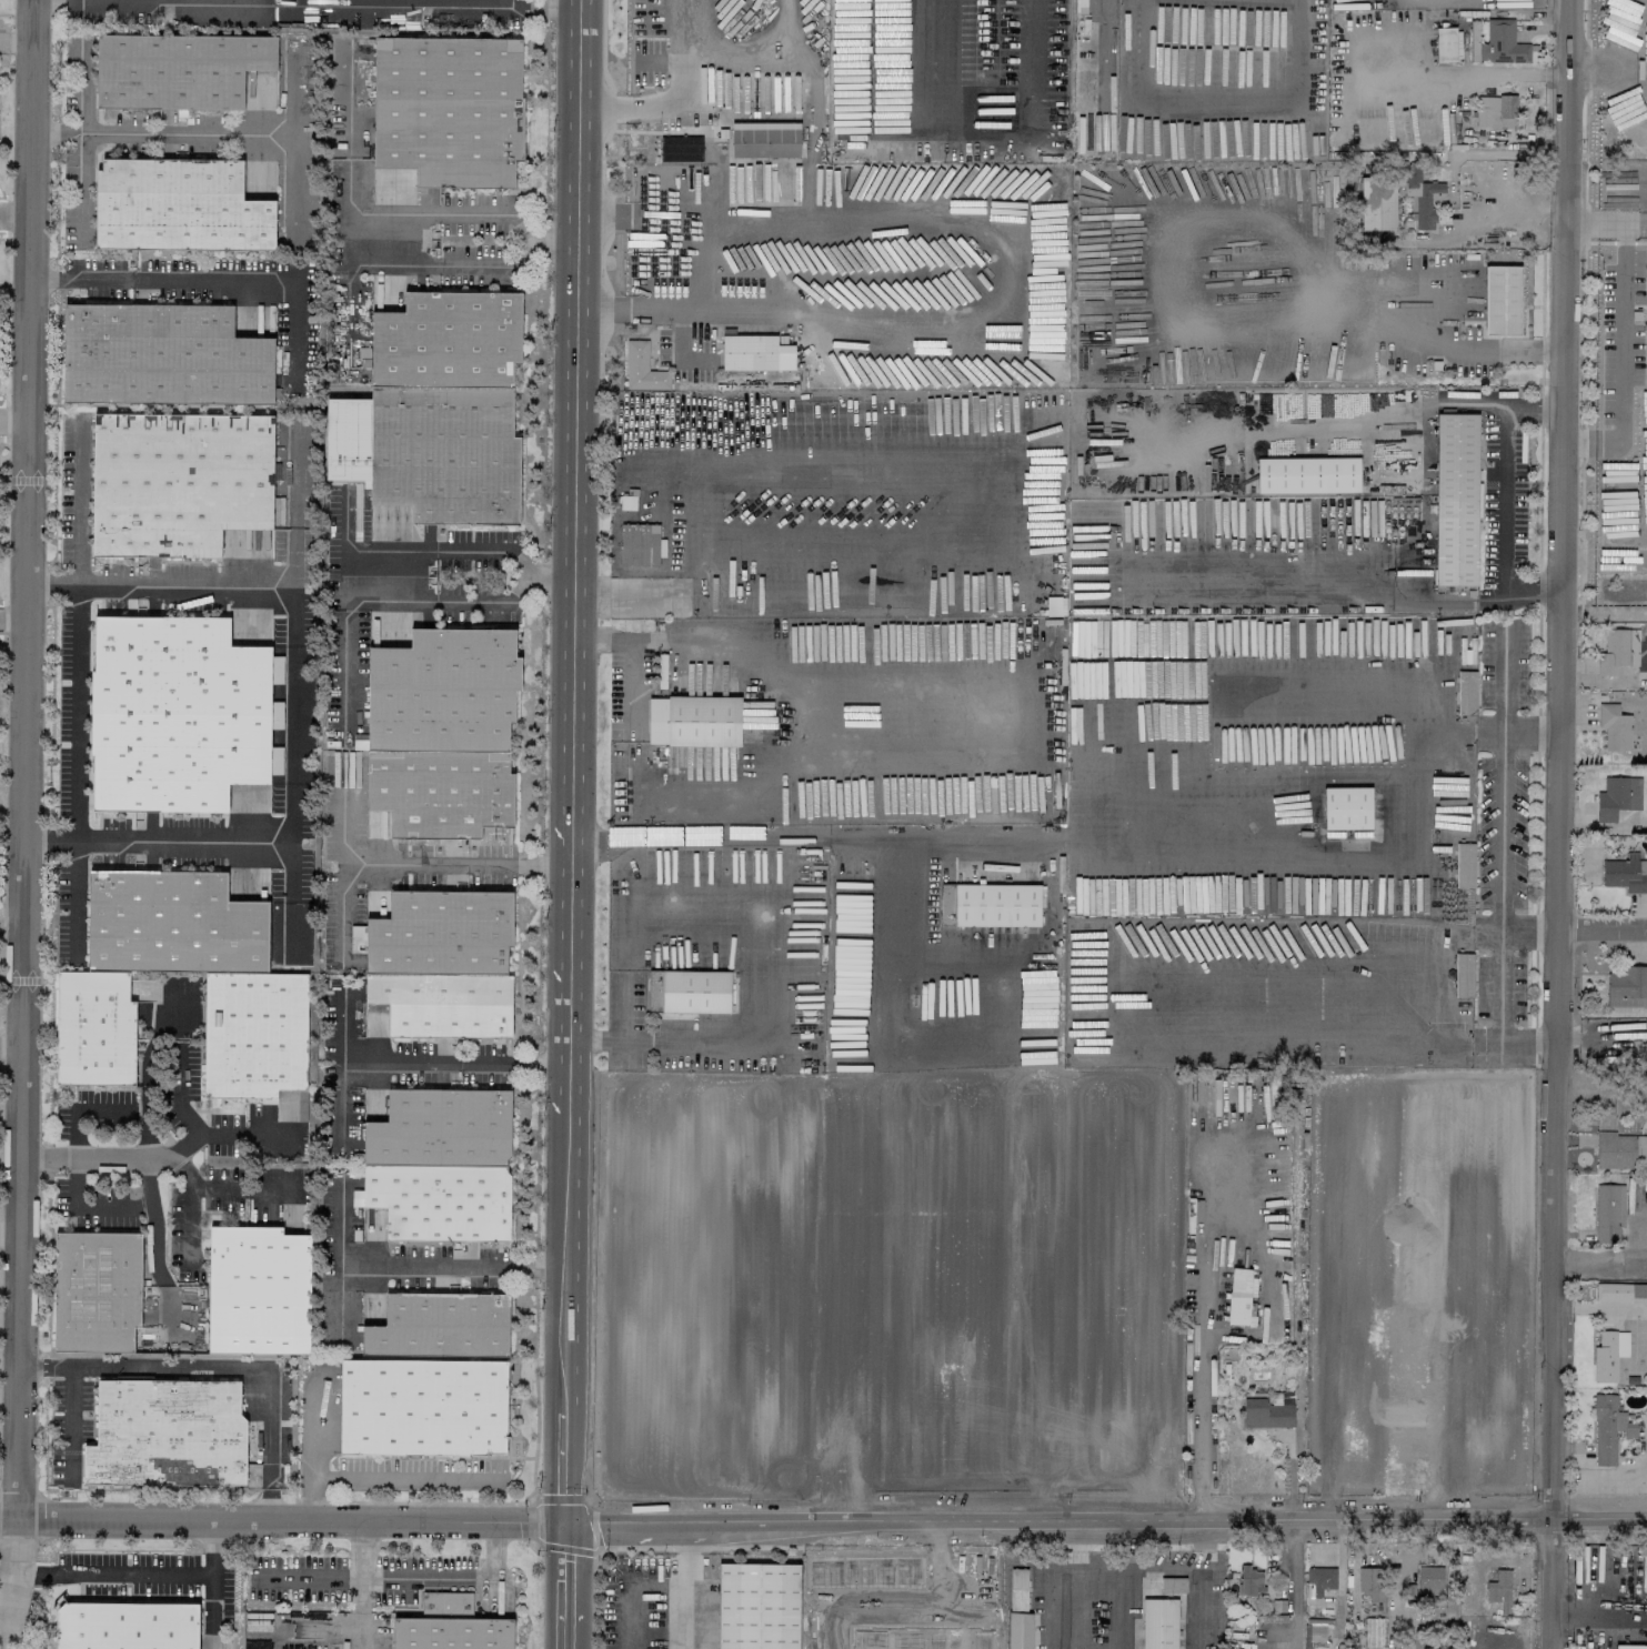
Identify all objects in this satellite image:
road: (94, 0)
road: (208, 0)
building: (1079, 2)
road: (388, 6)
road: (493, 8)
road: (535, 8)
road: (682, 26)
road: (17, 41)
building: (1444, 43)
building: (1502, 43)
road: (1408, 44)
building: (1457, 44)
building: (1473, 46)
road: (755, 50)
road: (657, 63)
road: (1640, 64)
road: (1603, 66)
building: (180, 69)
road: (79, 90)
building: (1084, 92)
road: (646, 103)
building: (449, 109)
building: (1495, 111)
road: (967, 115)
road: (137, 133)
building: (764, 139)
road: (1488, 154)
road: (293, 164)
building: (1420, 195)
building: (177, 205)
road: (390, 214)
road: (606, 215)
road: (16, 218)
road: (1640, 223)
road: (1601, 224)
road: (1620, 232)
road: (356, 241)
road: (453, 269)
road: (208, 281)
building: (1500, 300)
road: (1007, 304)
road: (1479, 349)
road: (679, 352)
building: (755, 352)
road: (1621, 352)
building: (163, 354)
building: (642, 368)
road: (576, 404)
building: (438, 412)
road: (14, 420)
road: (1579, 442)
road: (920, 450)
building: (1306, 474)
building: (179, 479)
road: (1499, 494)
building: (1455, 499)
road: (78, 502)
building: (626, 502)
road: (294, 519)
building: (640, 544)
road: (384, 553)
road: (1578, 560)
road: (1619, 560)
road: (183, 584)
road: (13, 620)
building: (1617, 651)
road: (342, 652)
road: (1504, 682)
road: (73, 683)
road: (777, 684)
building: (1466, 692)
building: (175, 711)
road: (291, 714)
building: (693, 721)
building: (1614, 727)
building: (441, 734)
road: (1533, 735)
building: (359, 741)
road: (26, 758)
building: (1617, 796)
building: (1346, 807)
road: (1560, 824)
road: (1152, 831)
road: (155, 836)
road: (677, 837)
road: (1500, 862)
road: (352, 863)
building: (1464, 864)
road: (520, 865)
building: (1625, 873)
road: (72, 891)
building: (988, 904)
road: (341, 914)
road: (1603, 929)
building: (356, 938)
road: (572, 957)
building: (442, 964)
building: (1463, 974)
building: (1626, 986)
building: (253, 987)
road: (1499, 988)
building: (687, 991)
road: (1436, 997)
building: (337, 1007)
road: (11, 1046)
road: (1529, 1047)
road: (442, 1055)
road: (188, 1086)
road: (892, 1108)
road: (347, 1114)
road: (161, 1147)
building: (1619, 1150)
building: (441, 1166)
road: (250, 1178)
building: (355, 1197)
road: (197, 1198)
road: (112, 1207)
building: (1607, 1213)
road: (10, 1233)
road: (570, 1259)
road: (155, 1260)
road: (1603, 1263)
road: (413, 1271)
building: (258, 1290)
building: (96, 1291)
building: (1619, 1291)
building: (1239, 1296)
road: (340, 1301)
building: (440, 1325)
building: (1379, 1330)
building: (950, 1345)
building: (1607, 1353)
road: (222, 1366)
building: (1409, 1373)
road: (1198, 1374)
building: (422, 1406)
building: (1265, 1407)
building: (1065, 1409)
road: (312, 1411)
road: (72, 1419)
building: (1606, 1425)
building: (165, 1435)
building: (1352, 1445)
building: (1407, 1445)
building: (1165, 1449)
road: (310, 1464)
road: (568, 1469)
road: (375, 1476)
road: (823, 1524)
road: (14, 1546)
road: (1141, 1568)
road: (1102, 1569)
road: (6, 1571)
road: (134, 1572)
road: (566, 1572)
road: (305, 1577)
road: (428, 1578)
building: (1247, 1579)
building: (1428, 1579)
building: (1318, 1580)
building: (1369, 1581)
building: (1172, 1585)
road: (1198, 1585)
road: (1292, 1585)
road: (1075, 1586)
road: (683, 1587)
road: (819, 1587)
building: (1498, 1588)
building: (828, 1589)
building: (1017, 1589)
building: (756, 1605)
road: (8, 1610)
road: (209, 1610)
road: (1614, 1610)
road: (358, 1612)
building: (452, 1622)
building: (1158, 1623)
building: (124, 1625)
building: (1018, 1630)
building: (1373, 1632)
road: (565, 1633)
building: (917, 1635)

